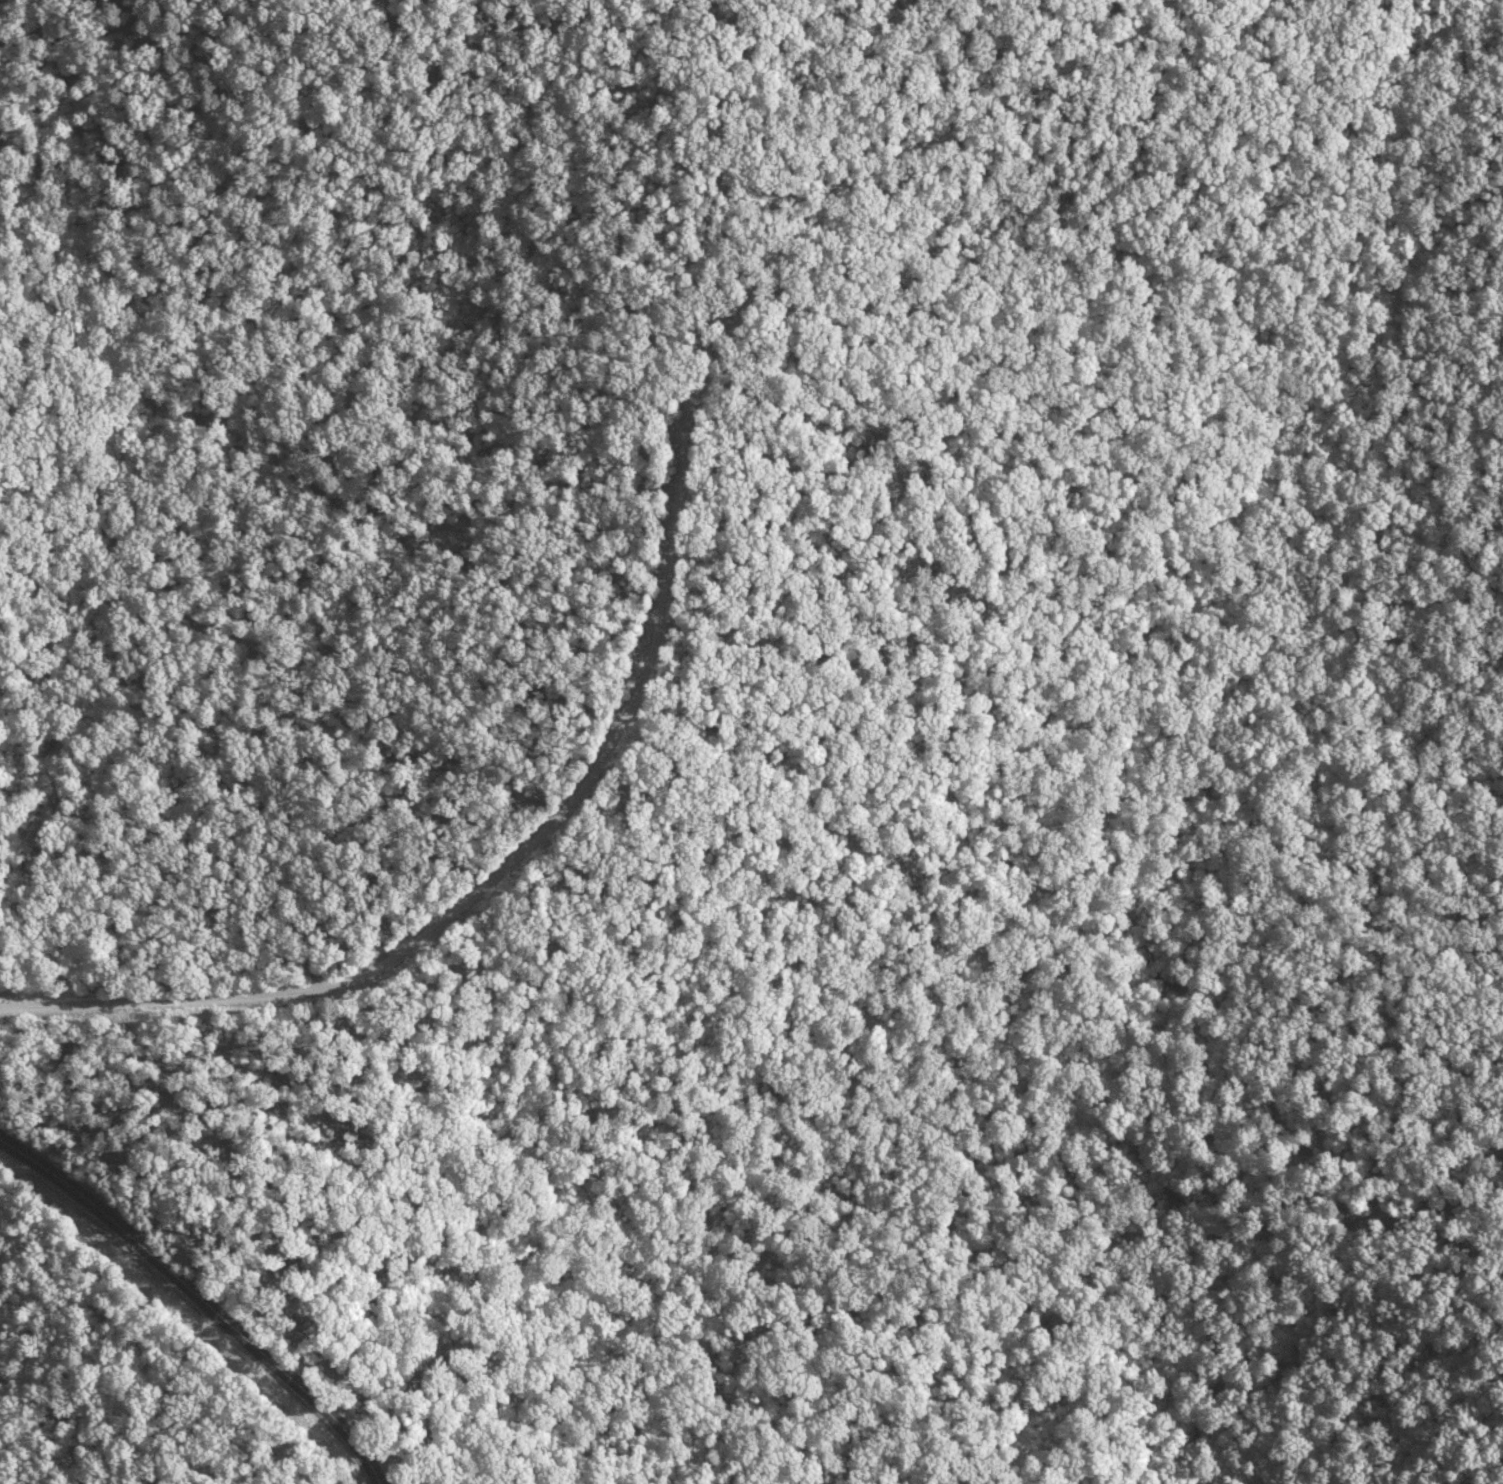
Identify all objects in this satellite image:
road: (665, 613)
park: (655, 774)
road: (199, 1244)
road: (197, 1301)
road: (311, 1383)

